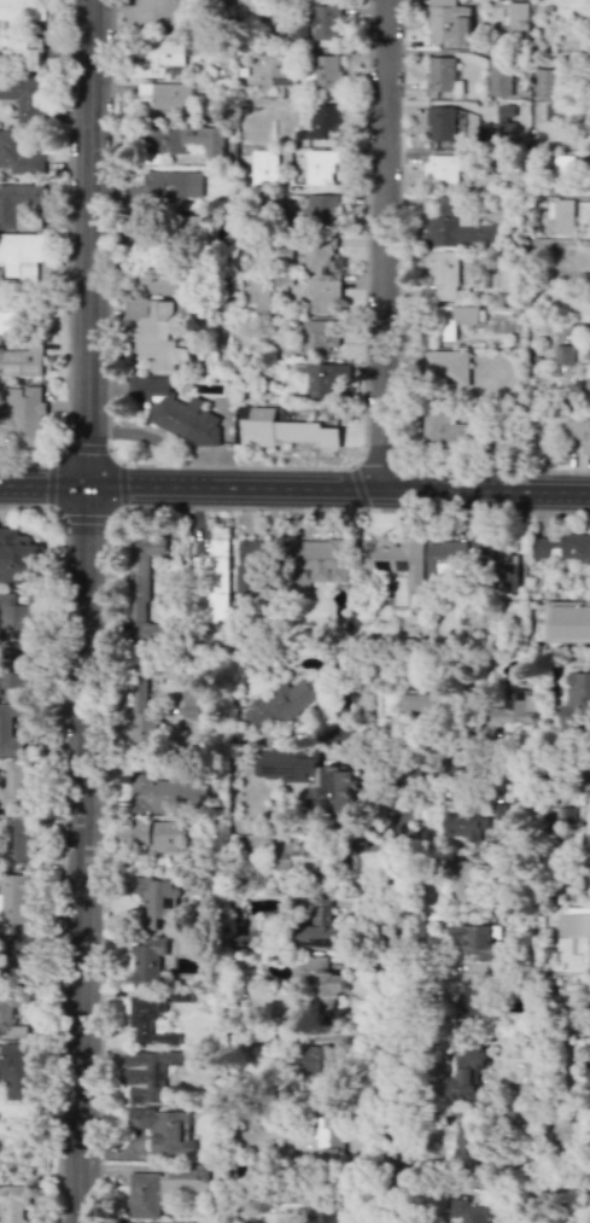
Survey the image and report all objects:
building: (22, 10)
building: (160, 12)
building: (516, 17)
building: (326, 22)
building: (448, 22)
building: (19, 49)
road: (433, 49)
building: (158, 58)
building: (322, 72)
building: (442, 74)
building: (500, 74)
building: (170, 95)
building: (25, 97)
building: (556, 111)
building: (504, 118)
building: (325, 122)
building: (440, 123)
building: (186, 139)
building: (19, 153)
building: (563, 163)
building: (320, 167)
building: (264, 168)
building: (444, 168)
building: (167, 186)
building: (17, 200)
building: (562, 216)
building: (455, 227)
building: (311, 233)
road: (381, 244)
building: (21, 254)
building: (440, 273)
building: (162, 279)
building: (259, 292)
building: (325, 296)
building: (6, 309)
building: (454, 319)
building: (157, 333)
building: (321, 337)
building: (562, 354)
building: (588, 354)
building: (21, 359)
building: (445, 367)
building: (326, 380)
building: (588, 389)
building: (176, 410)
building: (22, 417)
building: (285, 430)
building: (445, 431)
building: (578, 431)
traffic signals: (84, 487)
road: (357, 487)
road: (294, 488)
street lamp: (355, 512)
road: (98, 519)
building: (566, 547)
building: (17, 557)
building: (392, 559)
building: (319, 560)
building: (444, 561)
building: (250, 567)
building: (508, 577)
building: (214, 584)
building: (142, 592)
road: (82, 611)
building: (17, 613)
building: (566, 621)
building: (13, 666)
building: (285, 700)
building: (420, 701)
building: (576, 701)
building: (189, 703)
building: (512, 707)
building: (142, 717)
building: (5, 726)
building: (309, 778)
building: (16, 785)
building: (167, 793)
building: (562, 815)
building: (462, 825)
building: (150, 834)
building: (17, 838)
building: (304, 857)
building: (465, 879)
building: (13, 897)
building: (154, 902)
road: (399, 910)
building: (582, 926)
building: (320, 927)
building: (471, 939)
building: (245, 942)
building: (23, 948)
building: (589, 957)
building: (147, 960)
building: (323, 978)
building: (466, 1002)
building: (325, 1003)
building: (11, 1011)
building: (148, 1019)
building: (316, 1060)
building: (16, 1070)
building: (148, 1073)
building: (466, 1073)
building: (589, 1078)
building: (164, 1130)
building: (329, 1135)
building: (467, 1143)
building: (160, 1187)
building: (13, 1202)
building: (0, 1210)
building: (471, 1211)
building: (327, 1212)

